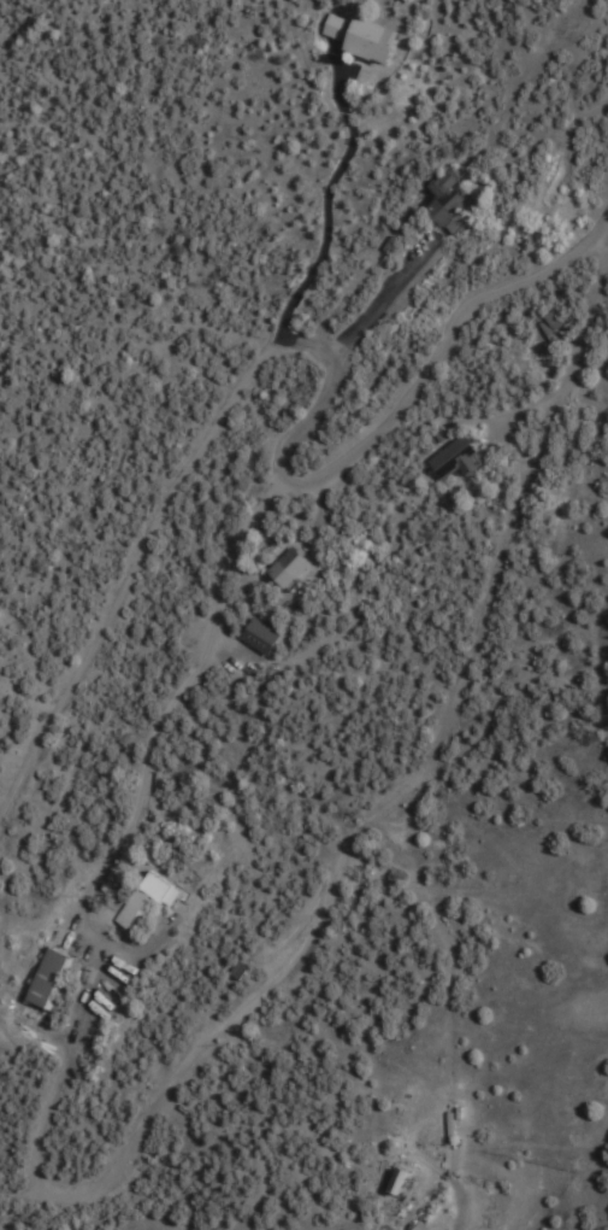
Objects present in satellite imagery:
building: (359, 37)
building: (444, 199)
road: (439, 348)
building: (453, 459)
road: (177, 474)
building: (285, 568)
building: (132, 910)
building: (42, 979)
road: (175, 1073)
building: (447, 1126)
building: (395, 1181)

